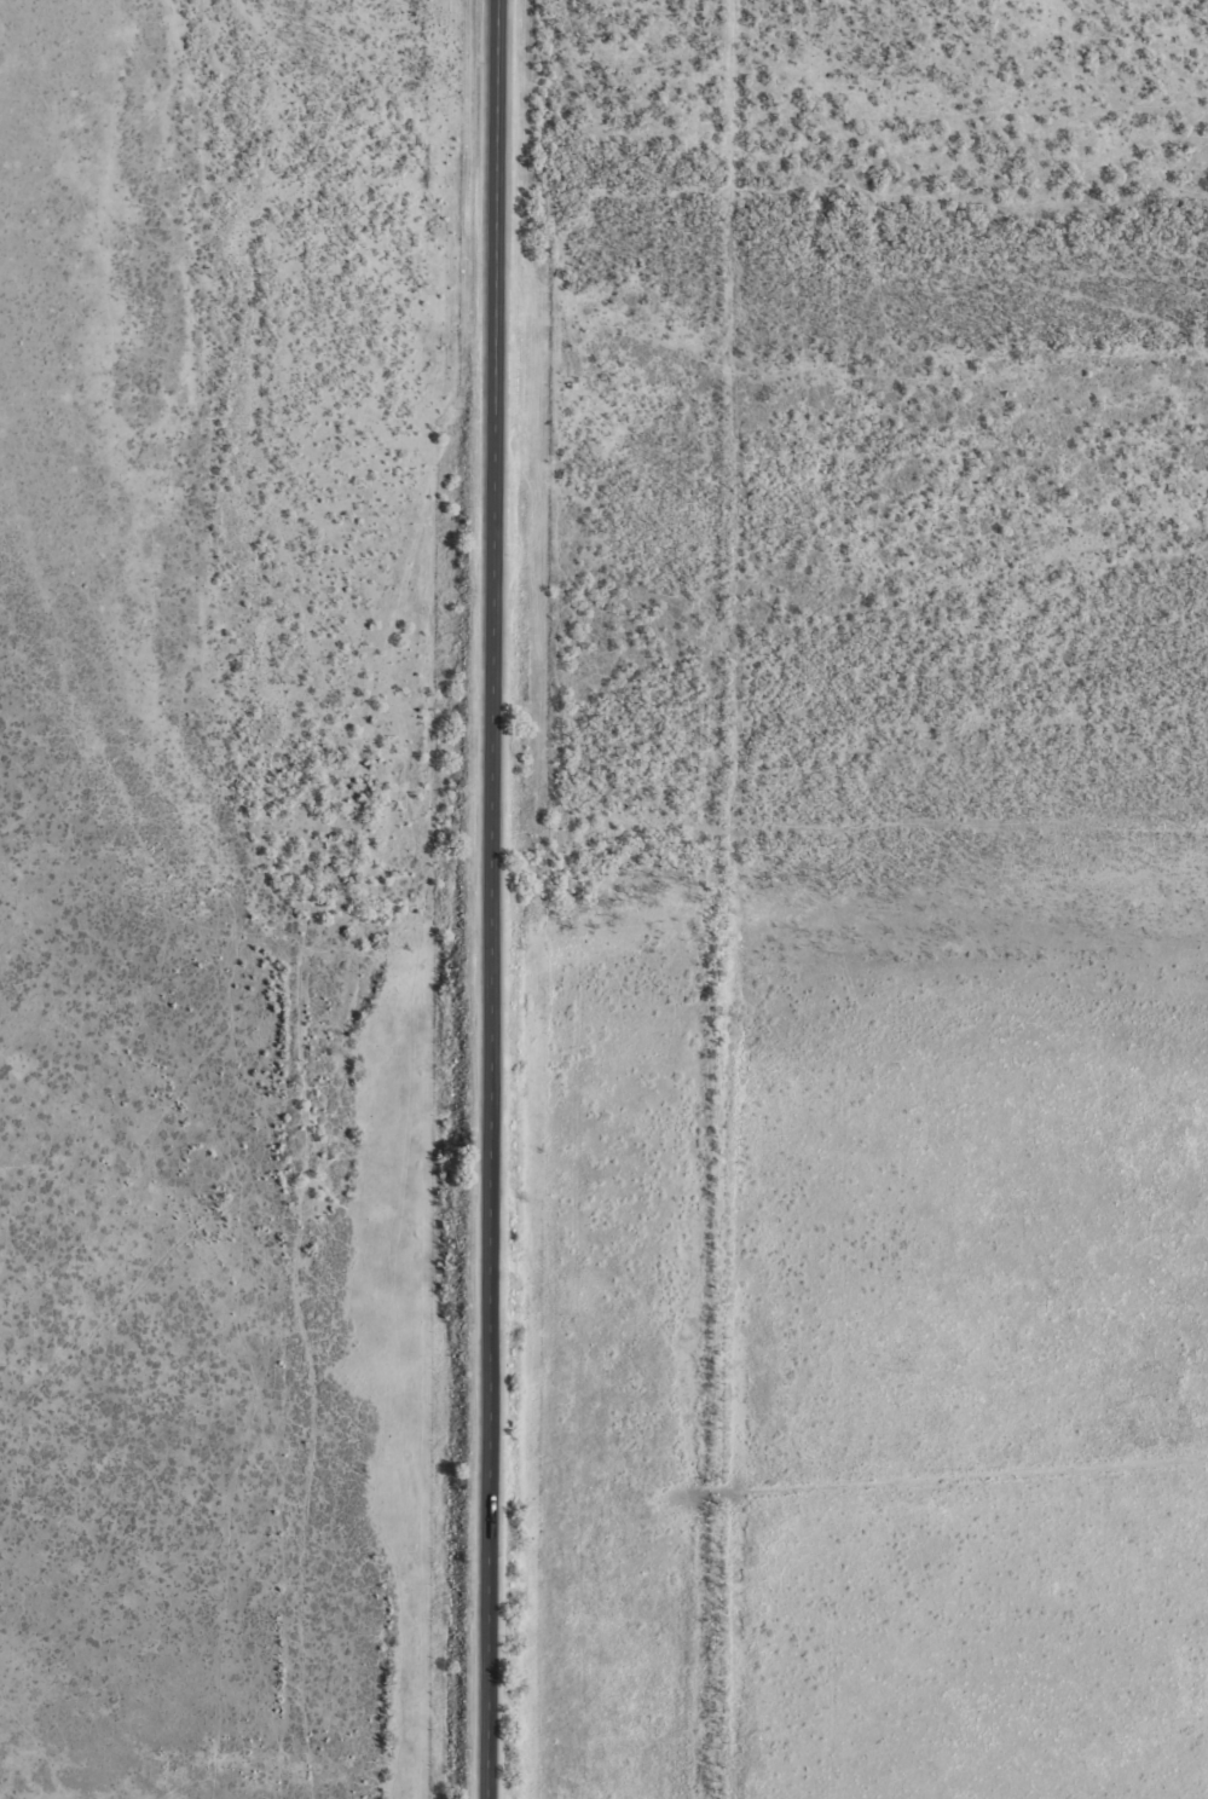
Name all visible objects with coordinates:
road: (484, 899)

